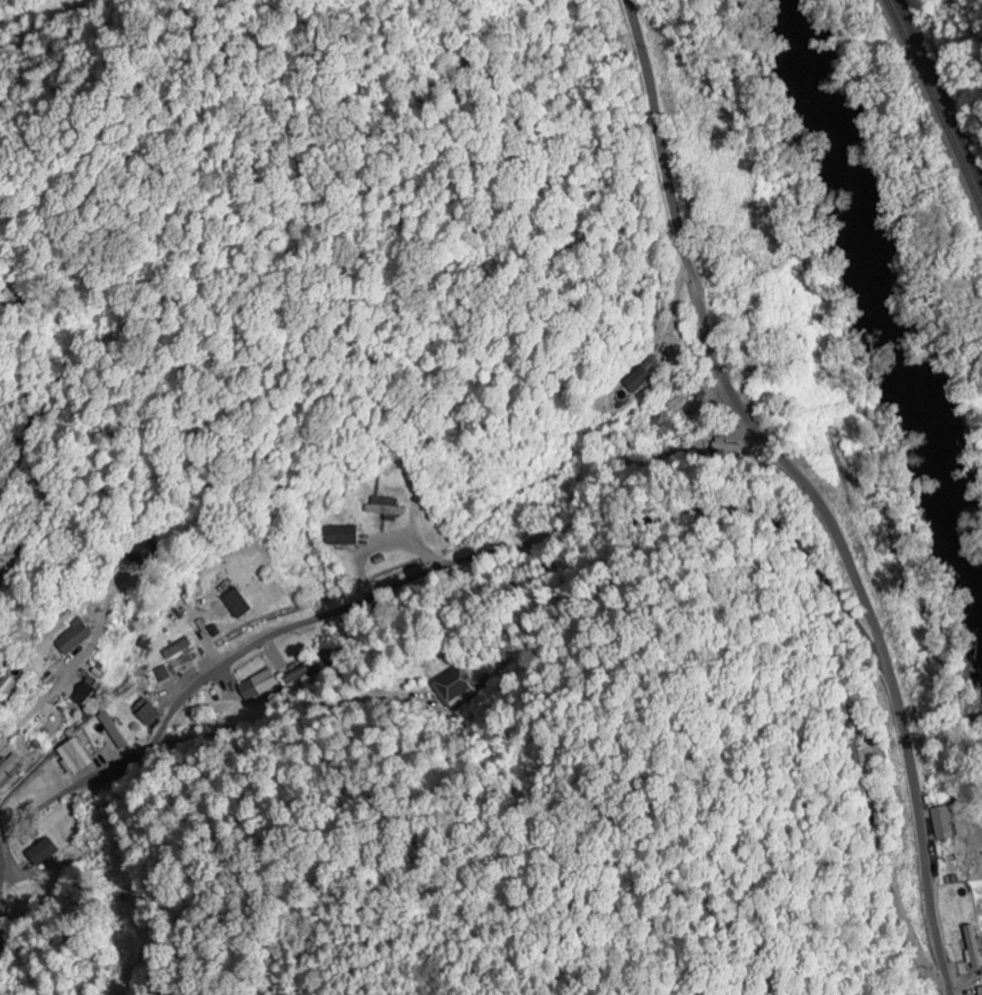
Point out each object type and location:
railway: (939, 96)
railway: (934, 109)
river: (893, 290)
building: (640, 380)
building: (728, 449)
road: (806, 489)
building: (389, 509)
building: (346, 537)
road: (433, 570)
building: (2, 583)
building: (241, 605)
building: (78, 637)
building: (147, 644)
building: (181, 650)
building: (191, 670)
building: (260, 686)
building: (456, 688)
building: (8, 689)
building: (90, 694)
building: (150, 714)
building: (116, 732)
building: (78, 758)
building: (12, 771)
building: (946, 825)
building: (43, 855)
building: (976, 948)
building: (981, 989)

